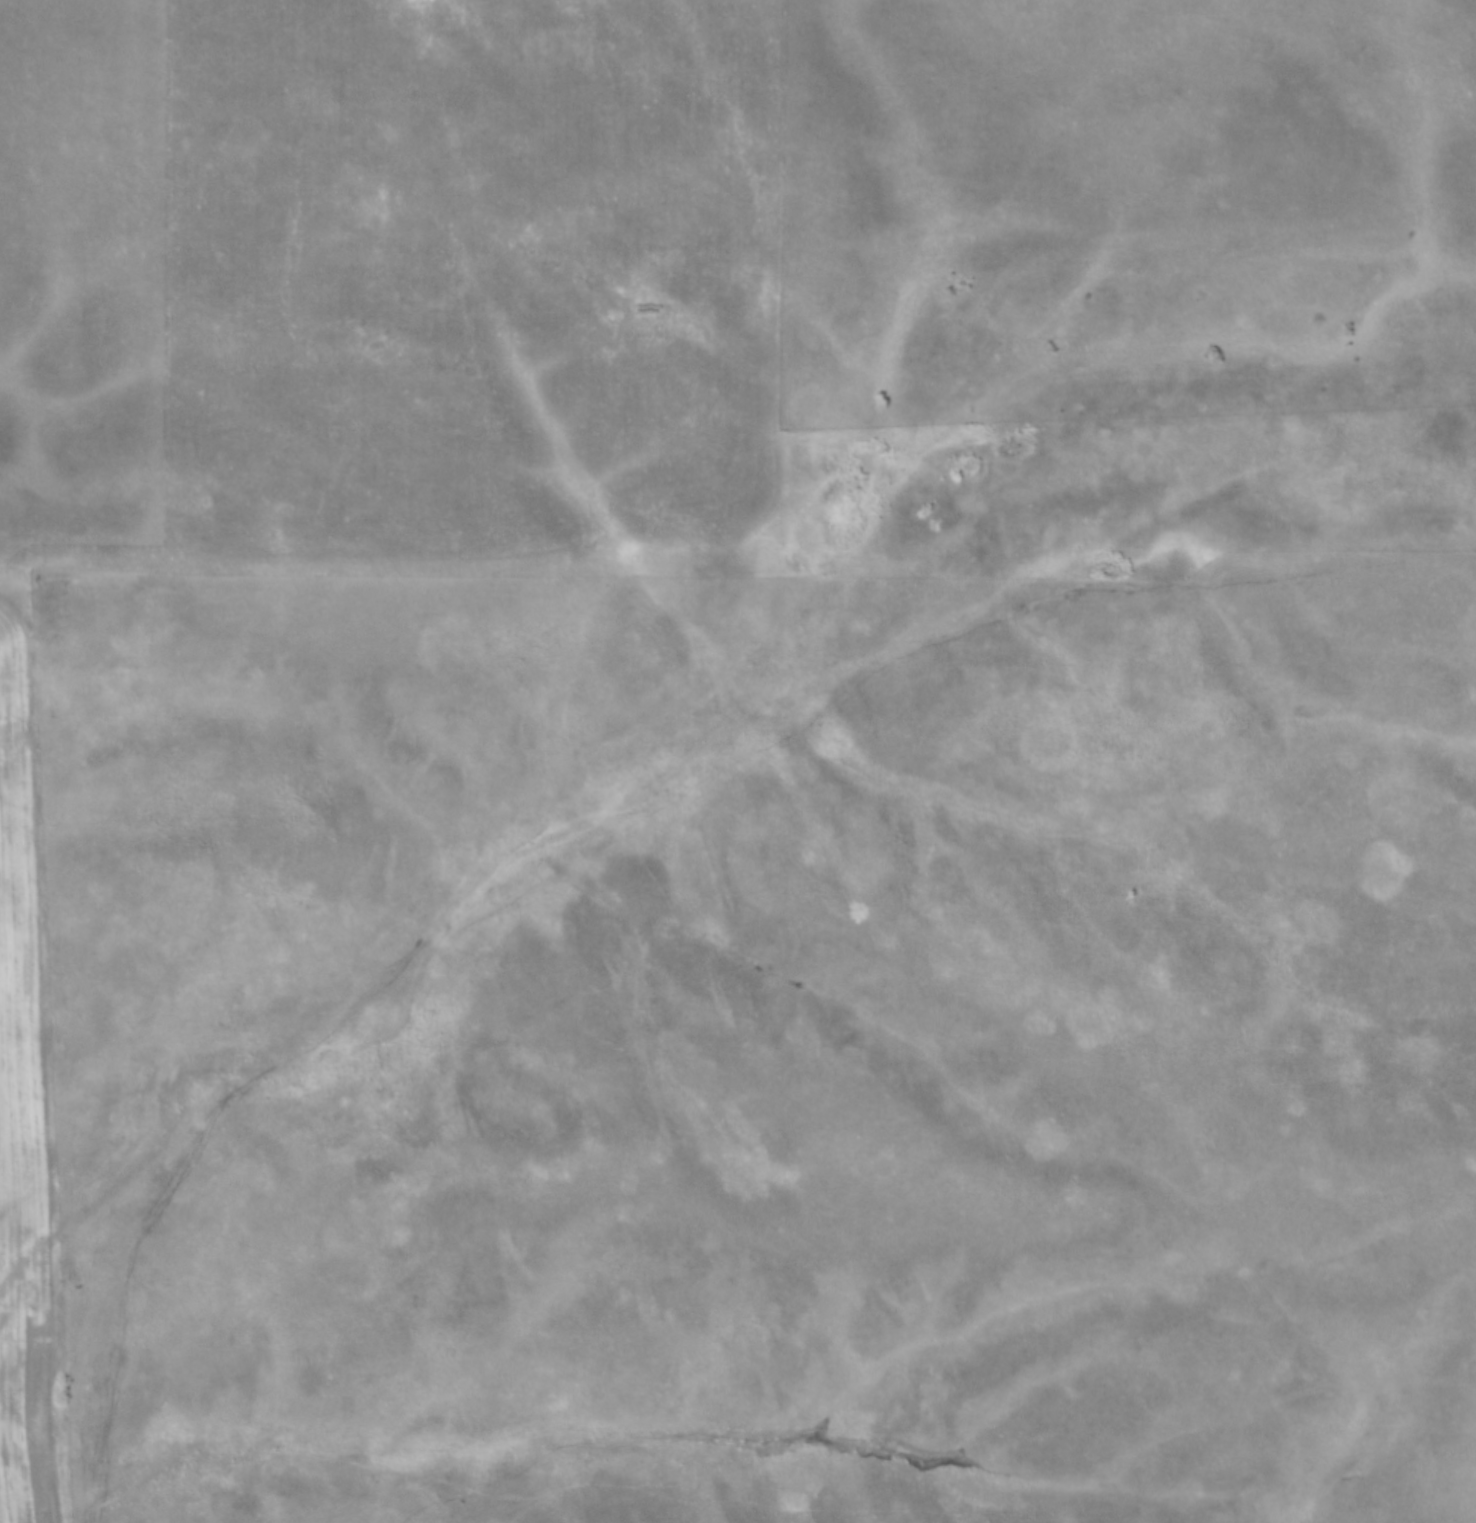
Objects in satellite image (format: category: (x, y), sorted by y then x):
road: (1273, 1400)

